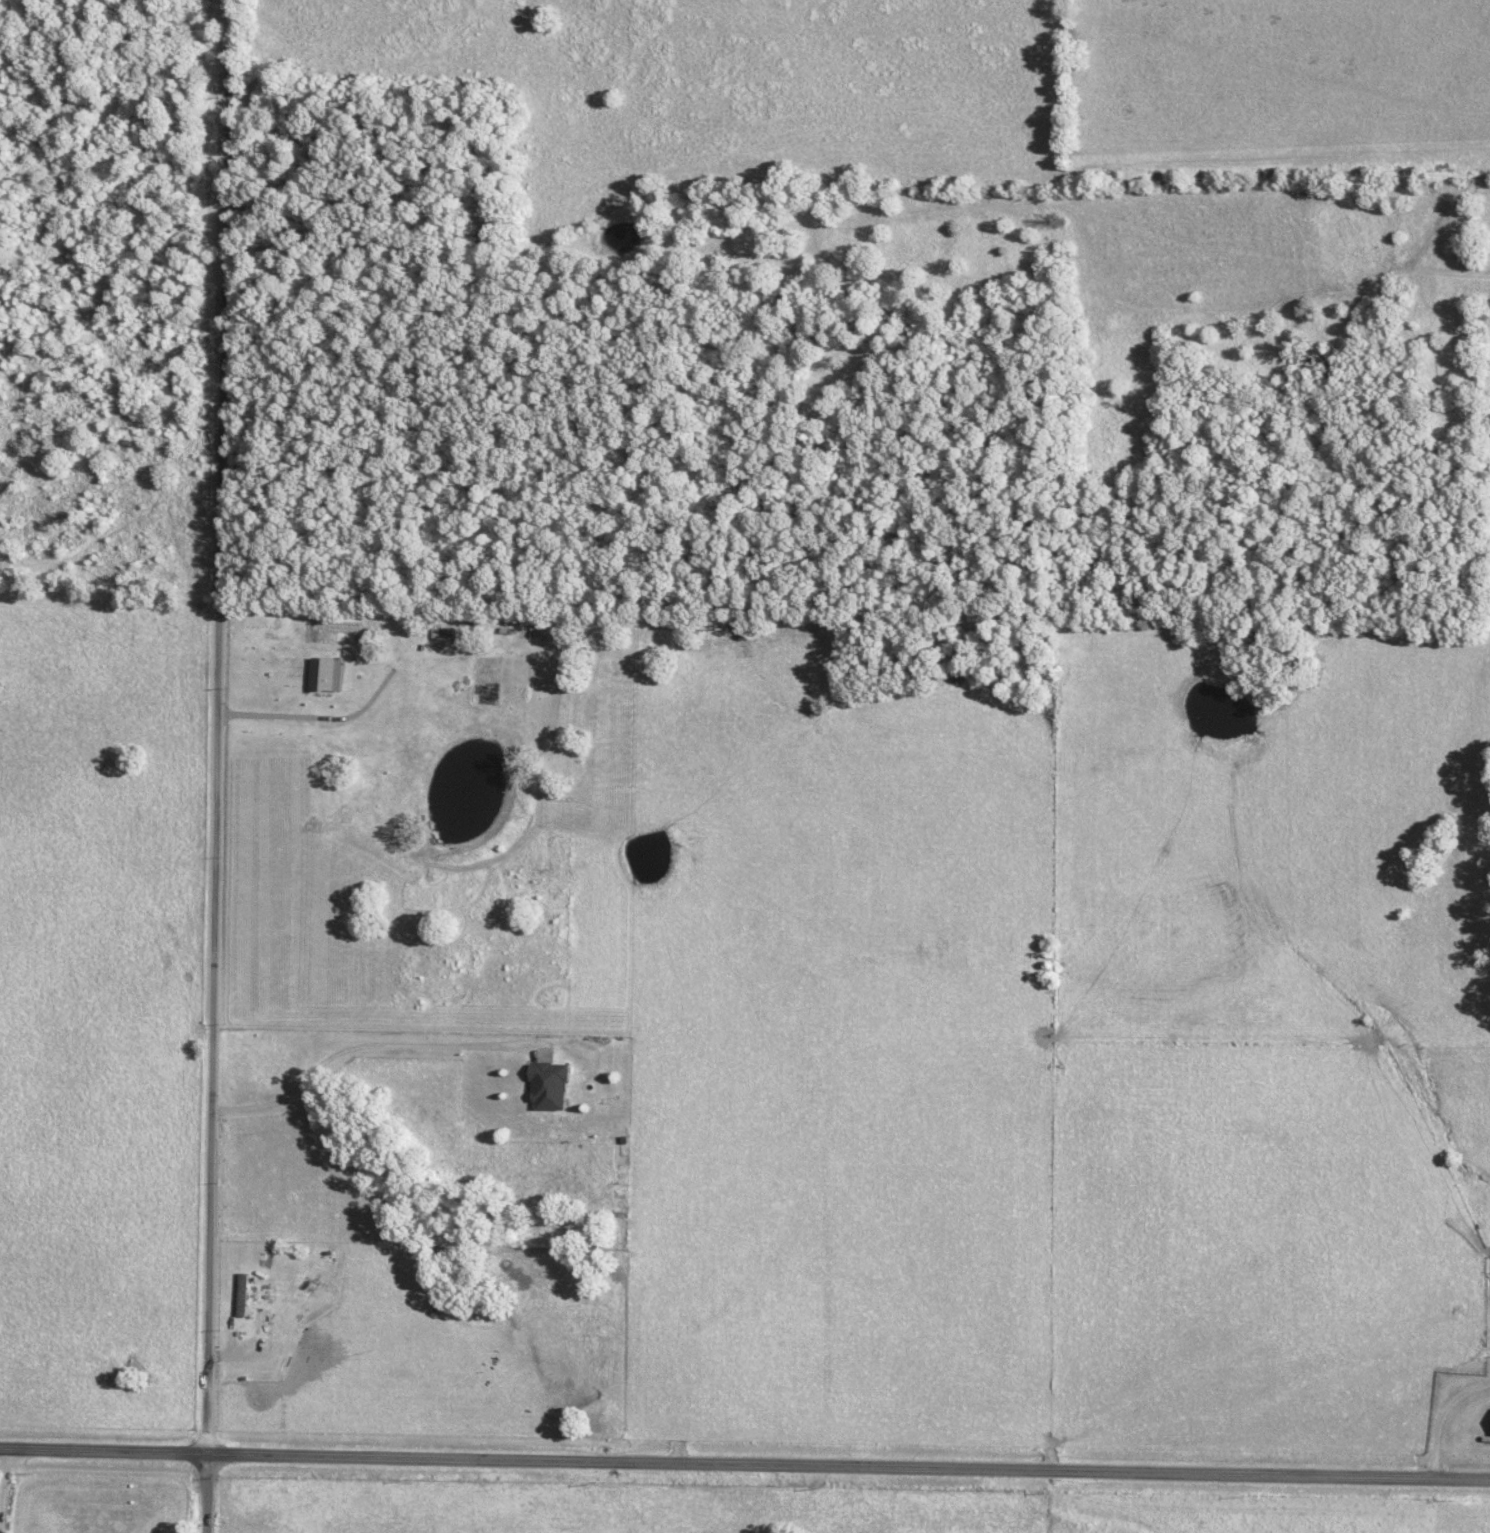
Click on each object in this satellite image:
road: (218, 766)
road: (365, 1045)
building: (555, 1084)
building: (249, 1293)
road: (744, 1467)
road: (6, 1492)

